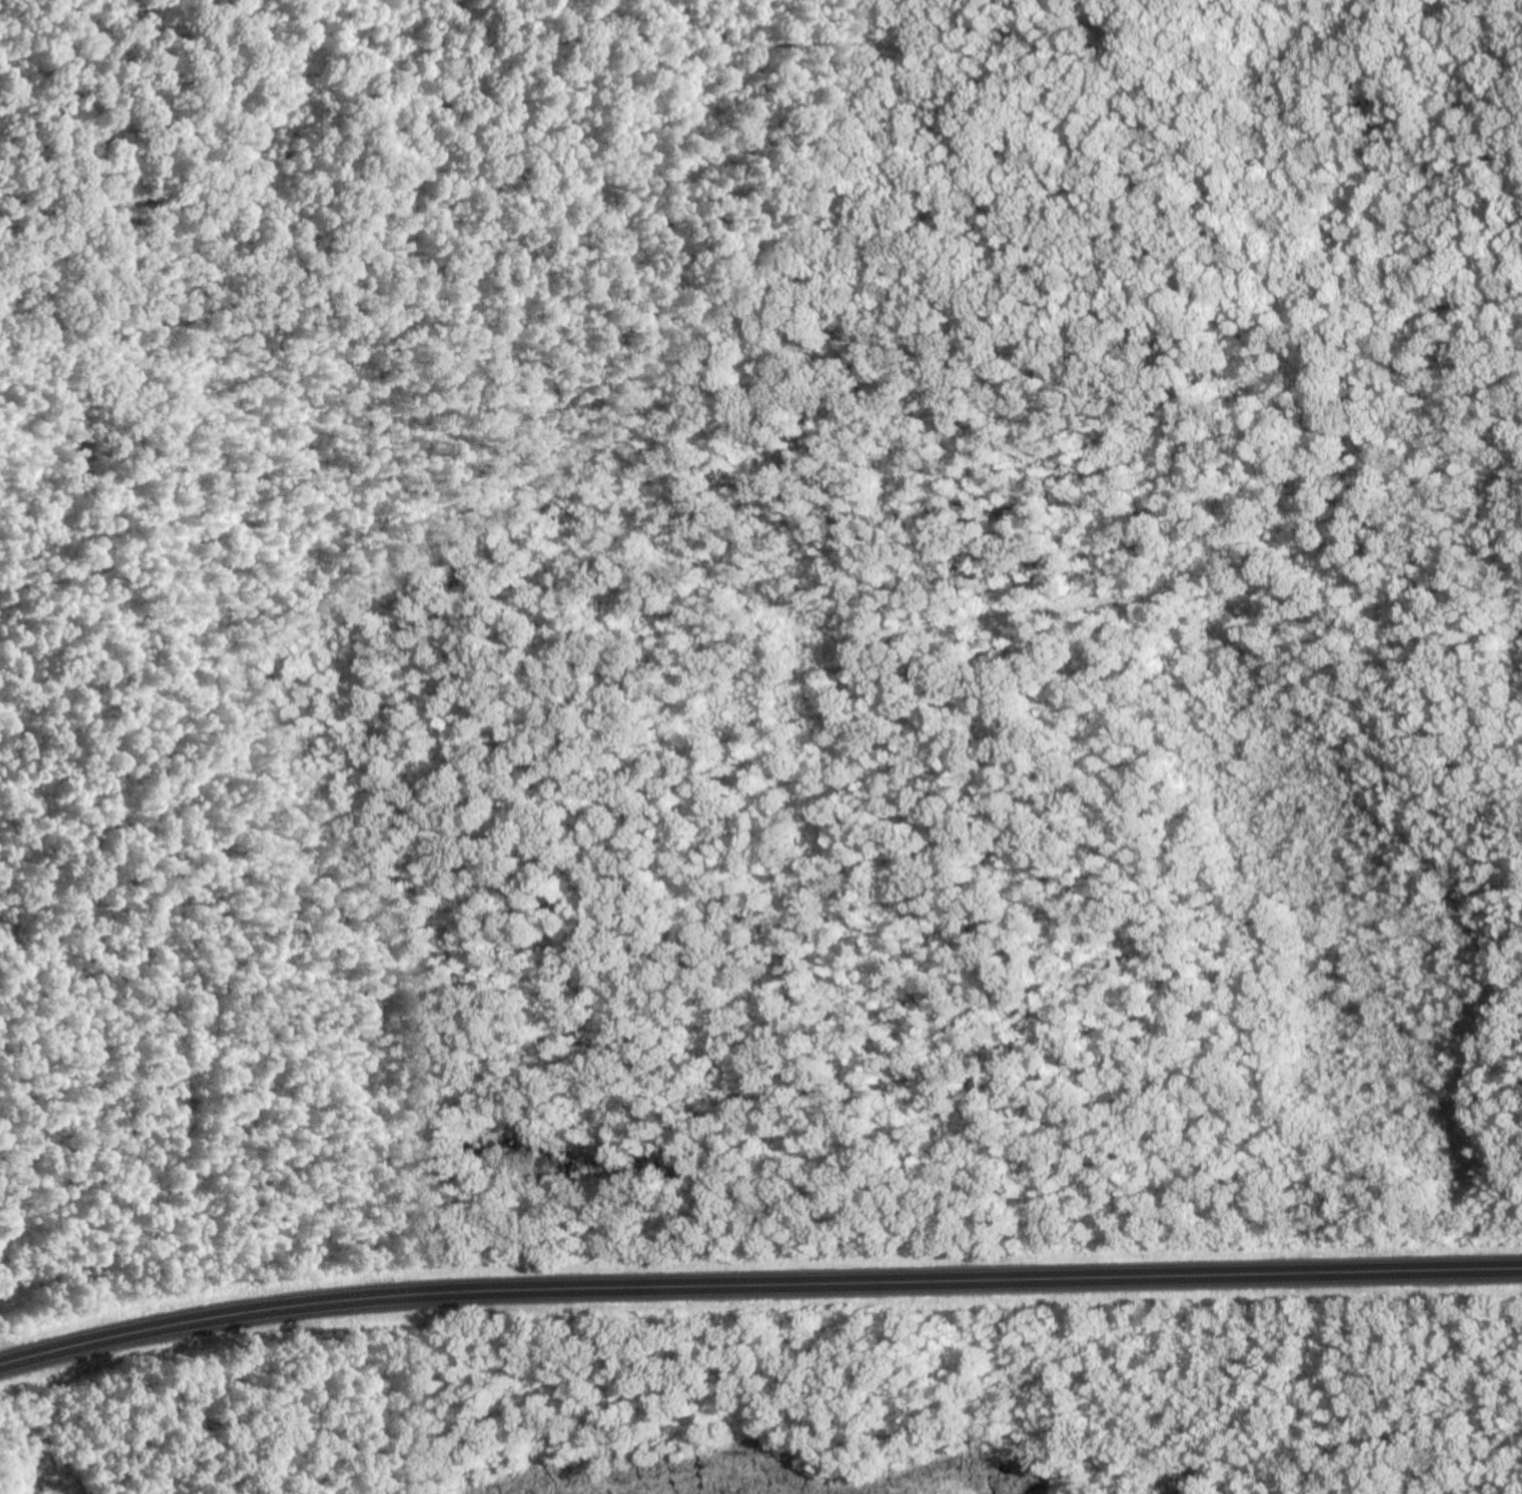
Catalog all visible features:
road: (757, 1281)

